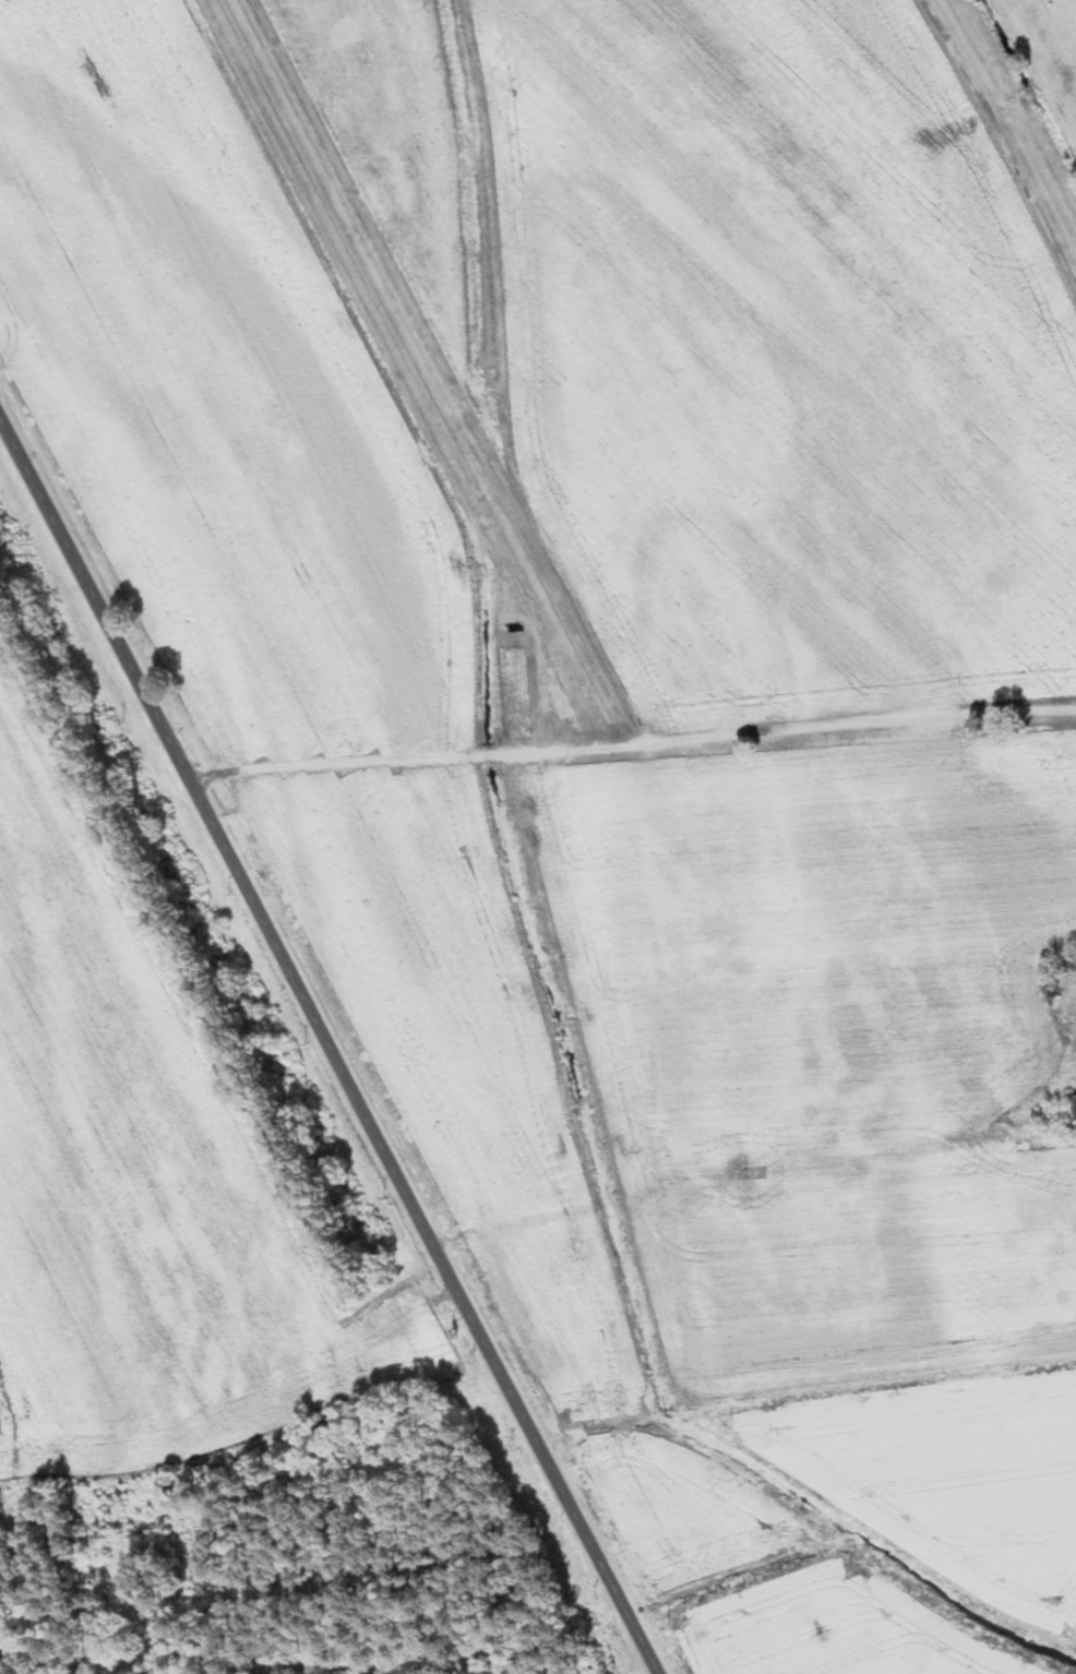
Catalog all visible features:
road: (110, 627)
road: (631, 740)
building: (1051, 990)
building: (1072, 1107)
road: (439, 1256)

